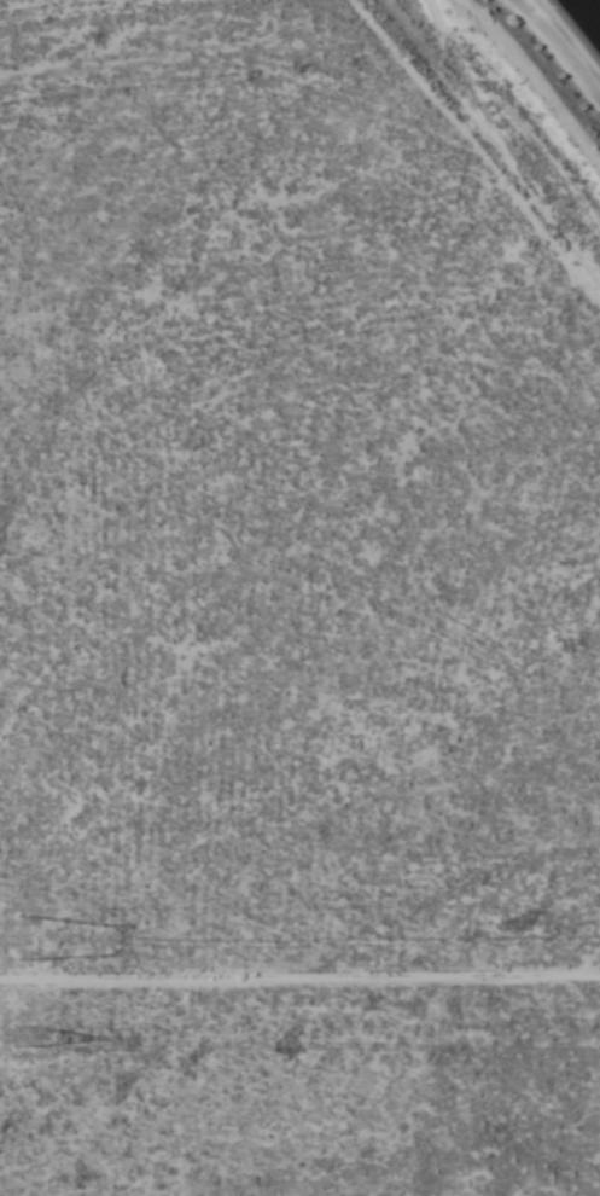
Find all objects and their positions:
road: (552, 59)
power tower: (35, 941)
power tower: (21, 1047)

